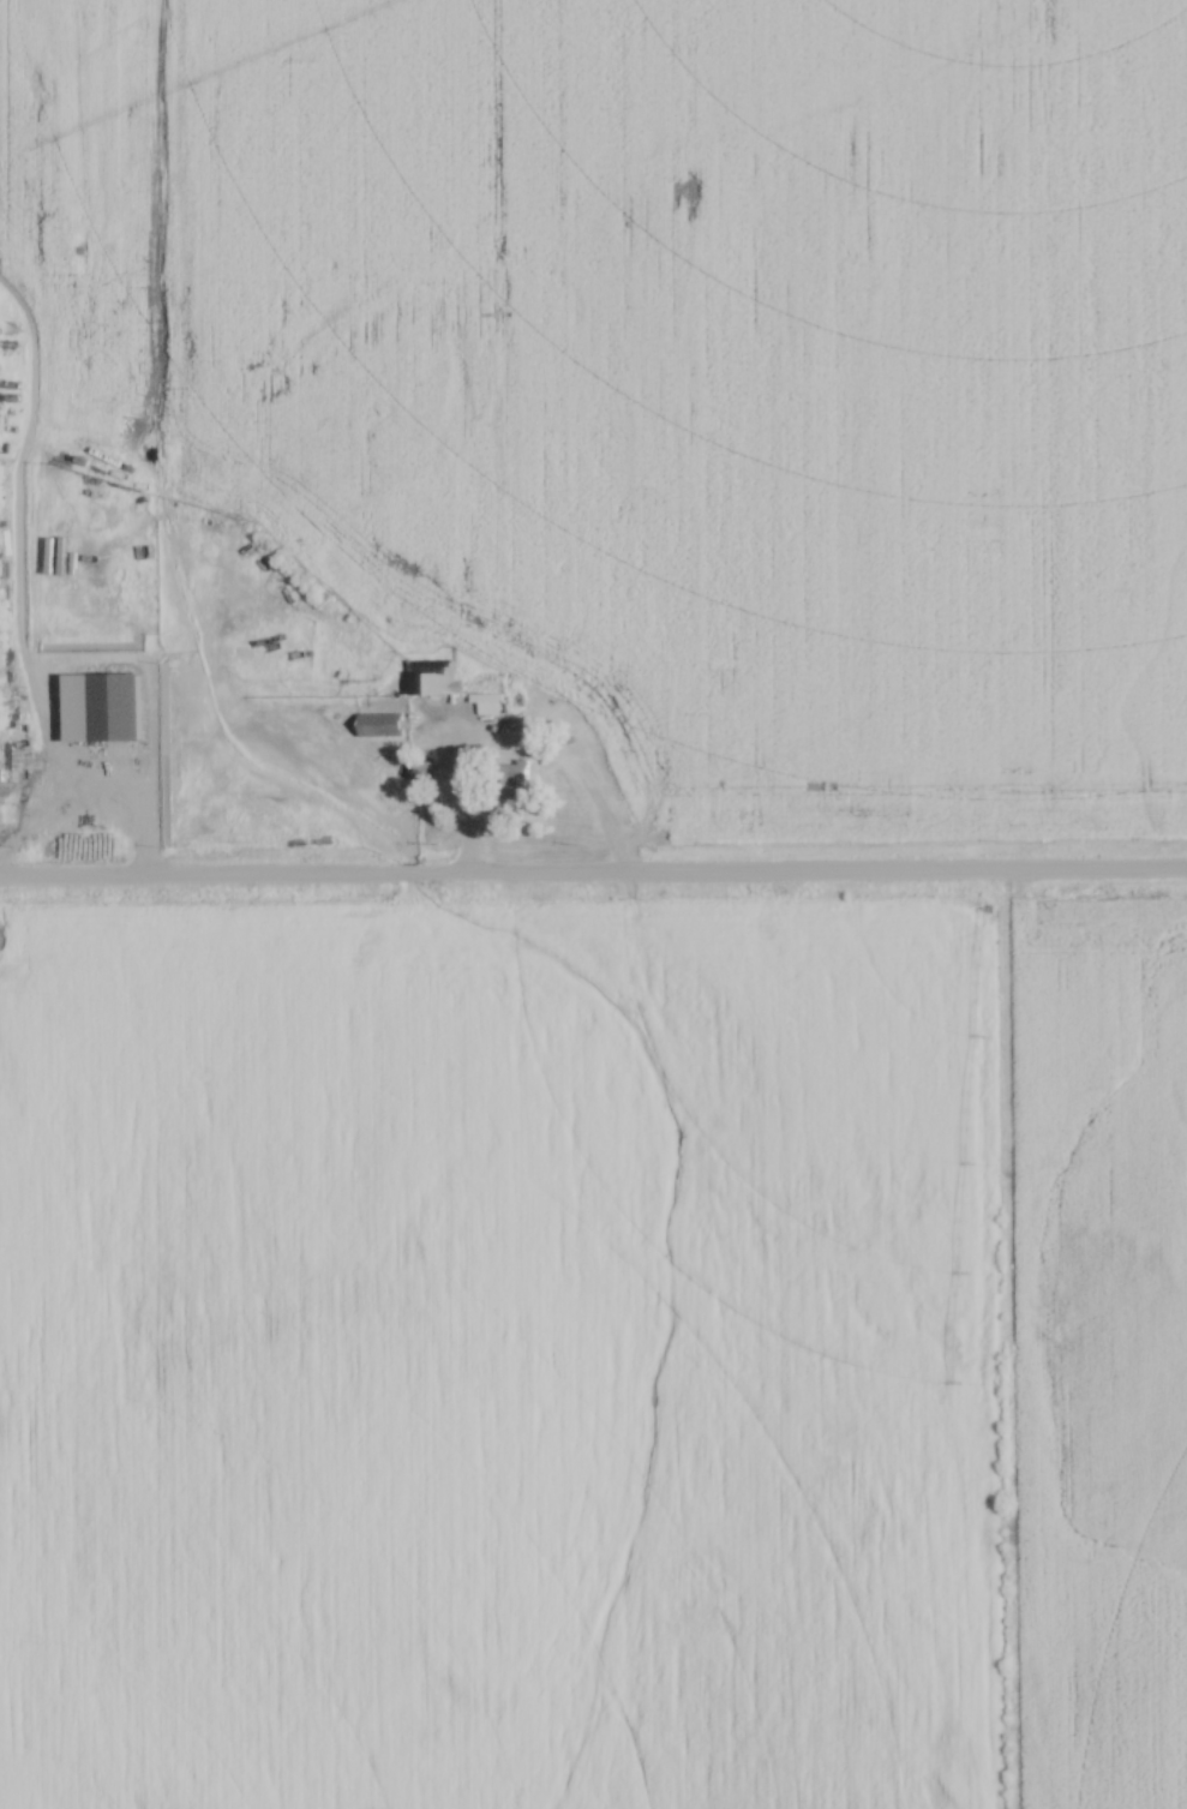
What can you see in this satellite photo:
building: (430, 677)
building: (112, 706)
building: (376, 724)
building: (416, 768)
building: (508, 777)
road: (23, 795)
road: (455, 801)
road: (593, 881)

